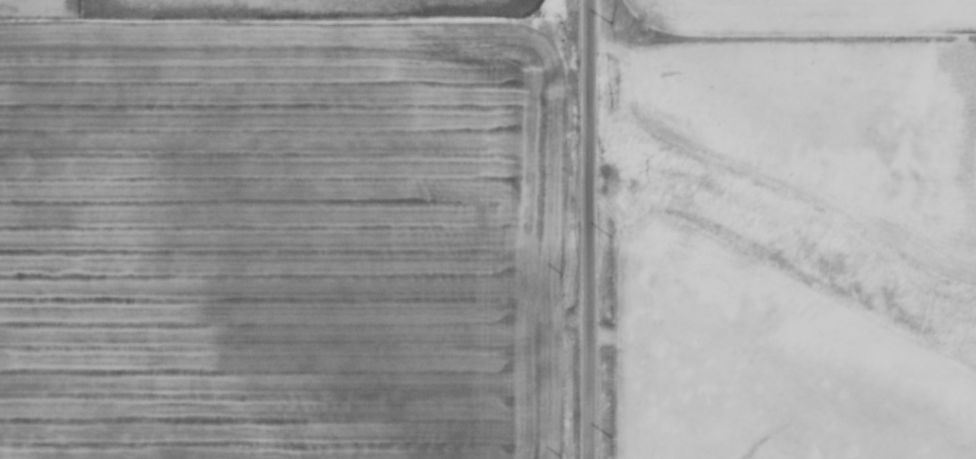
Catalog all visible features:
road: (591, 229)

